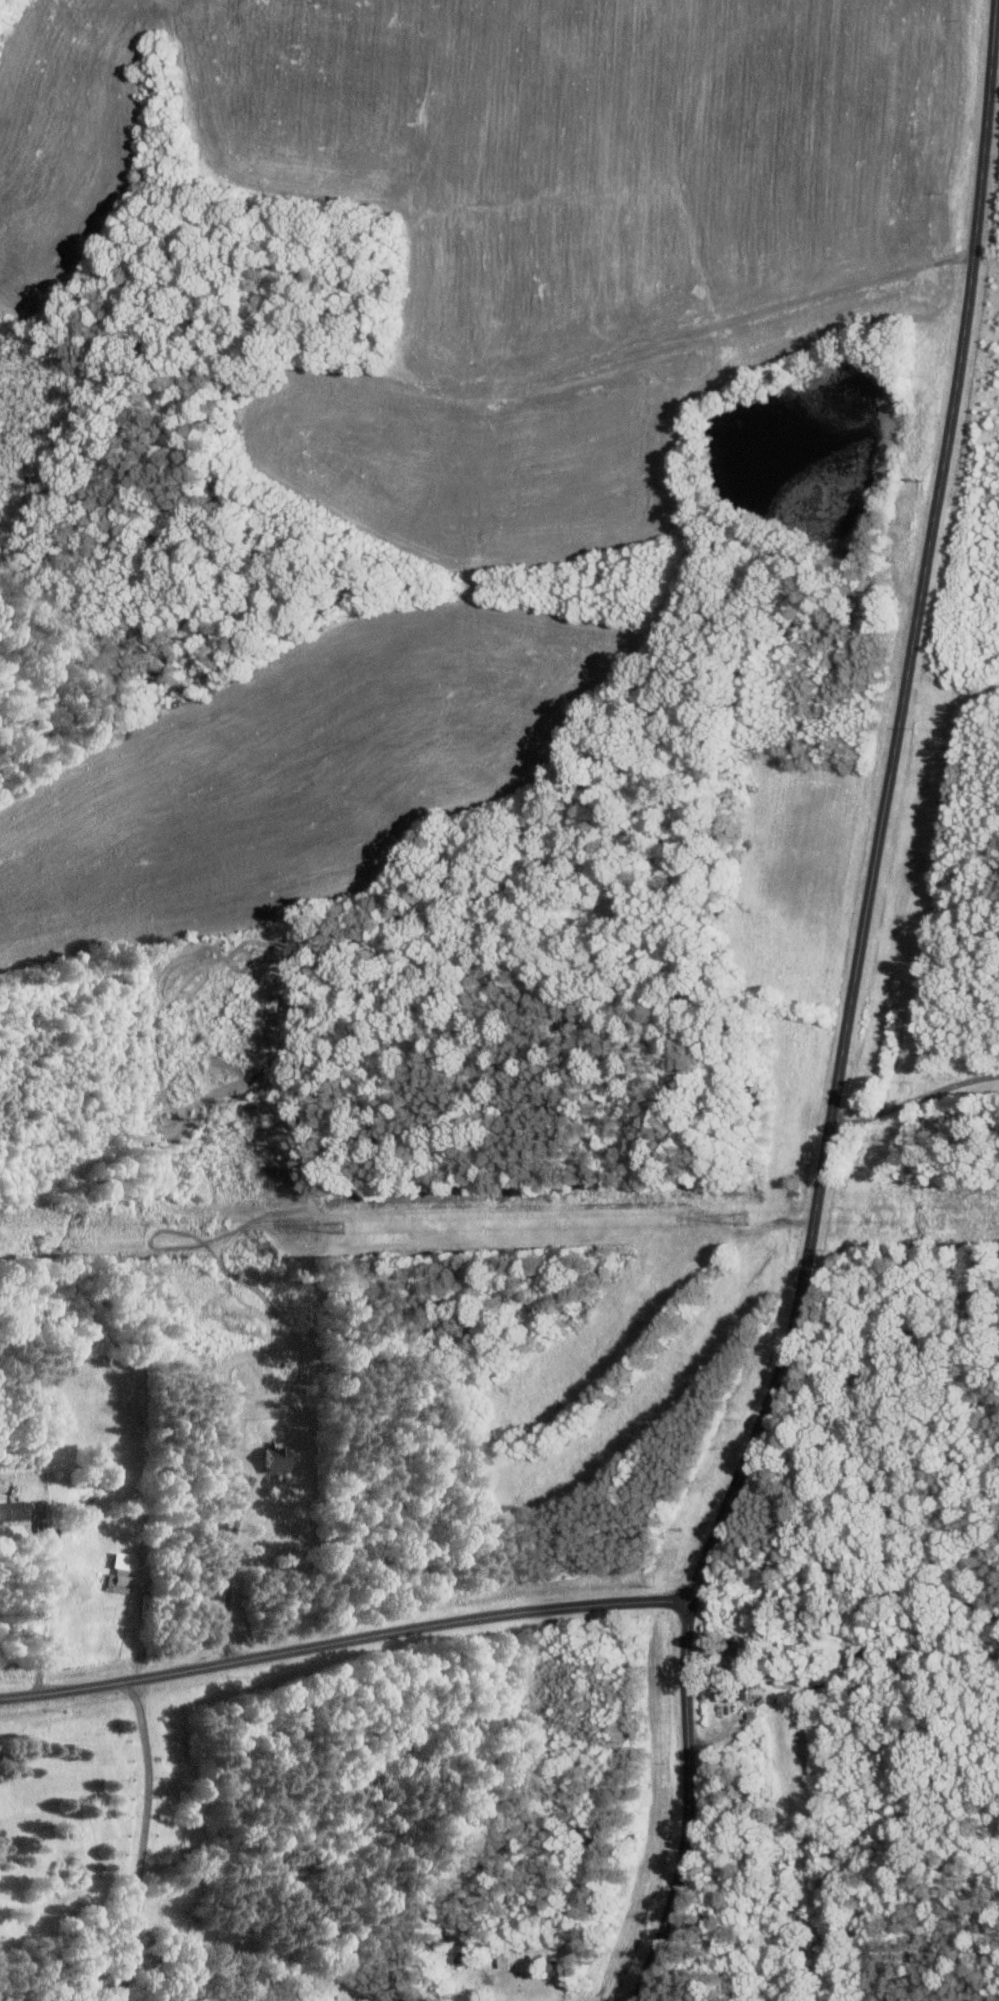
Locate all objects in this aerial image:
road: (847, 1011)
road: (912, 1103)
power tower: (740, 1219)
power tower: (338, 1228)
building: (280, 1460)
building: (39, 1510)
building: (14, 1512)
building: (121, 1574)
road: (234, 1574)
road: (46, 1617)
road: (343, 1644)
building: (729, 1689)
road: (722, 1726)
road: (144, 1839)

